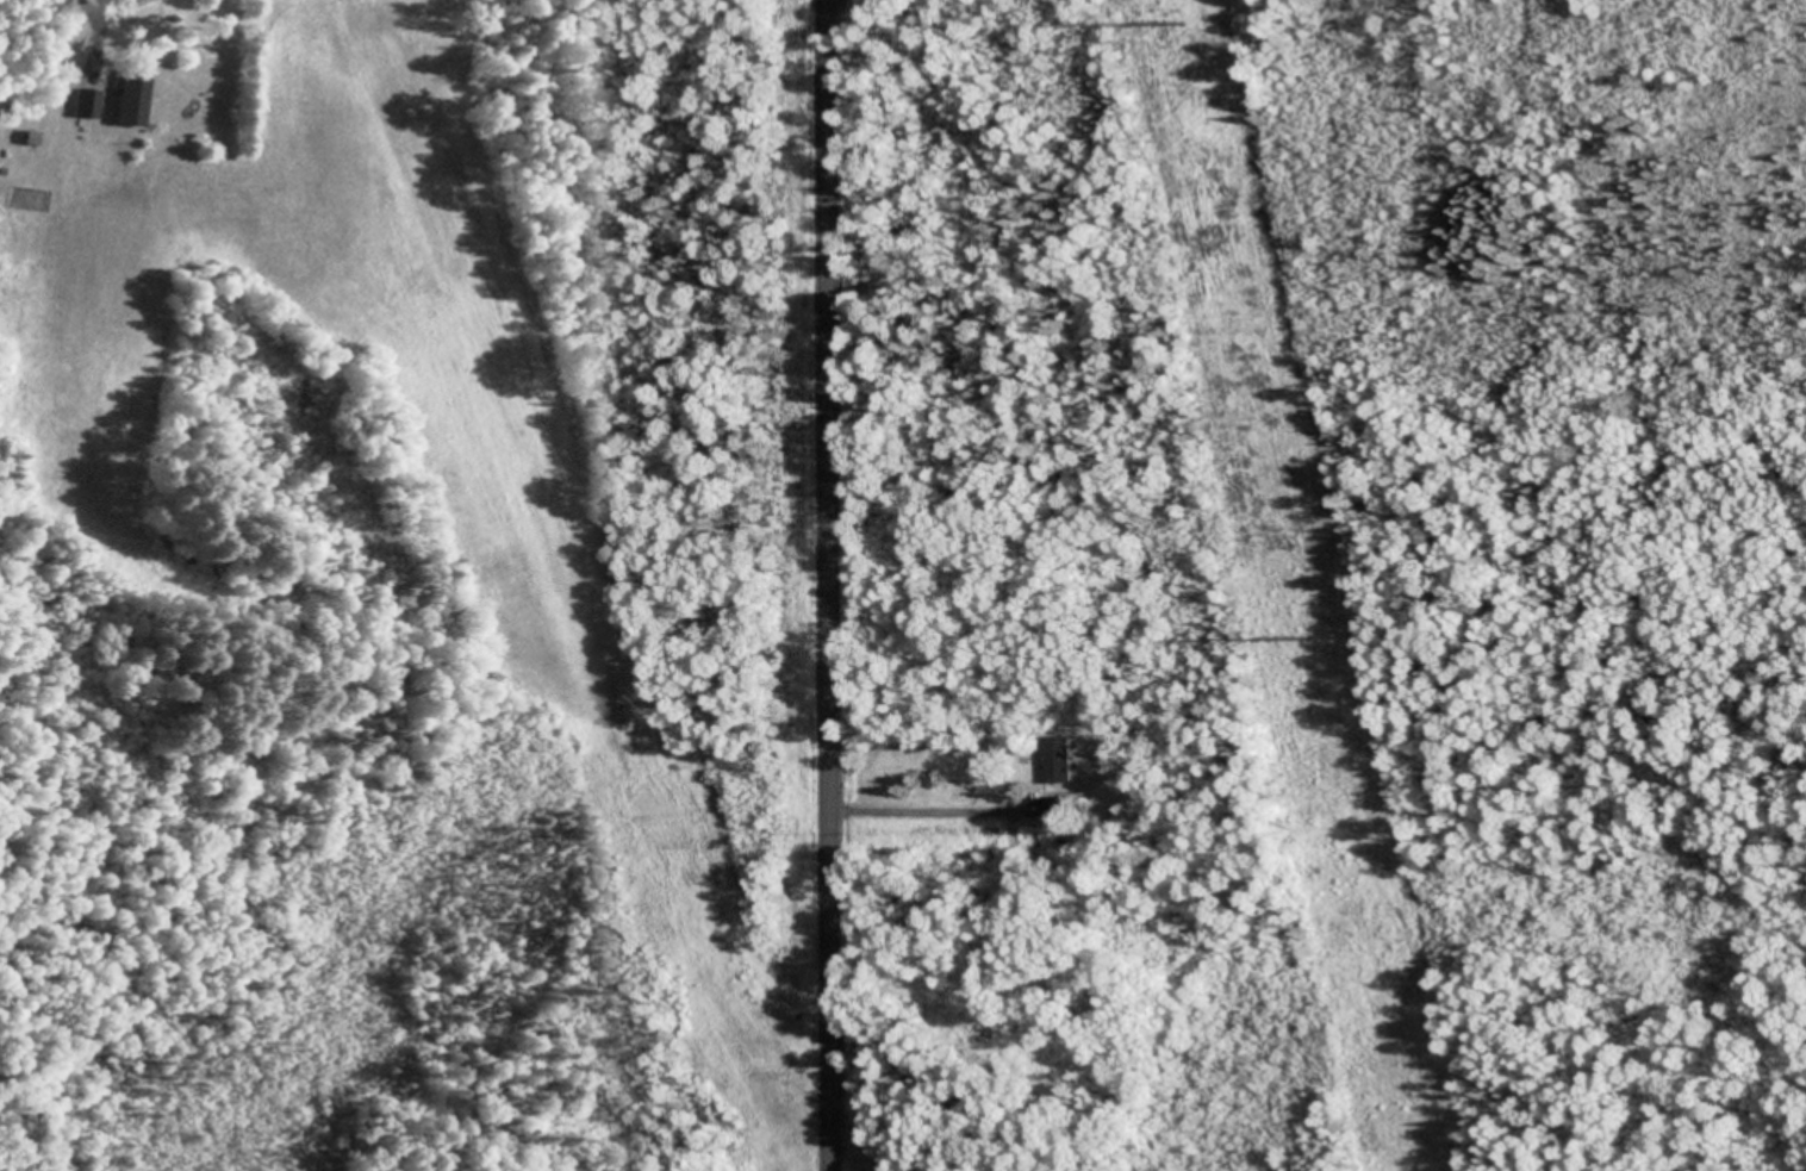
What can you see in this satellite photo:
power tower: (1184, 24)
building: (125, 104)
building: (83, 106)
road: (833, 585)
power tower: (1309, 639)
building: (1058, 762)

